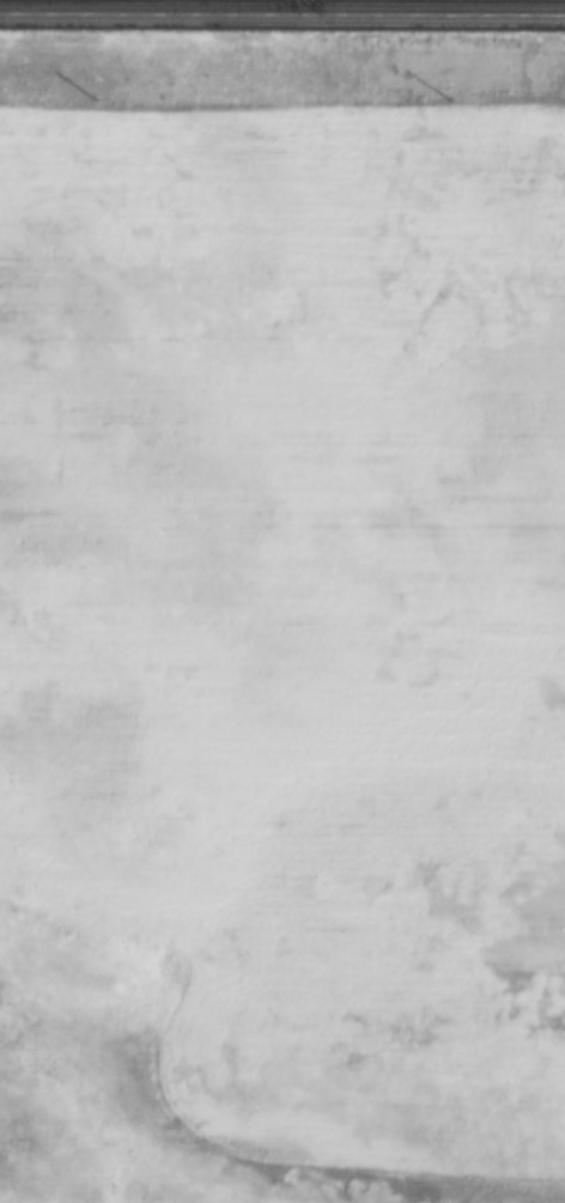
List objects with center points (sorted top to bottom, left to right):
road: (160, 1)
road: (282, 4)

